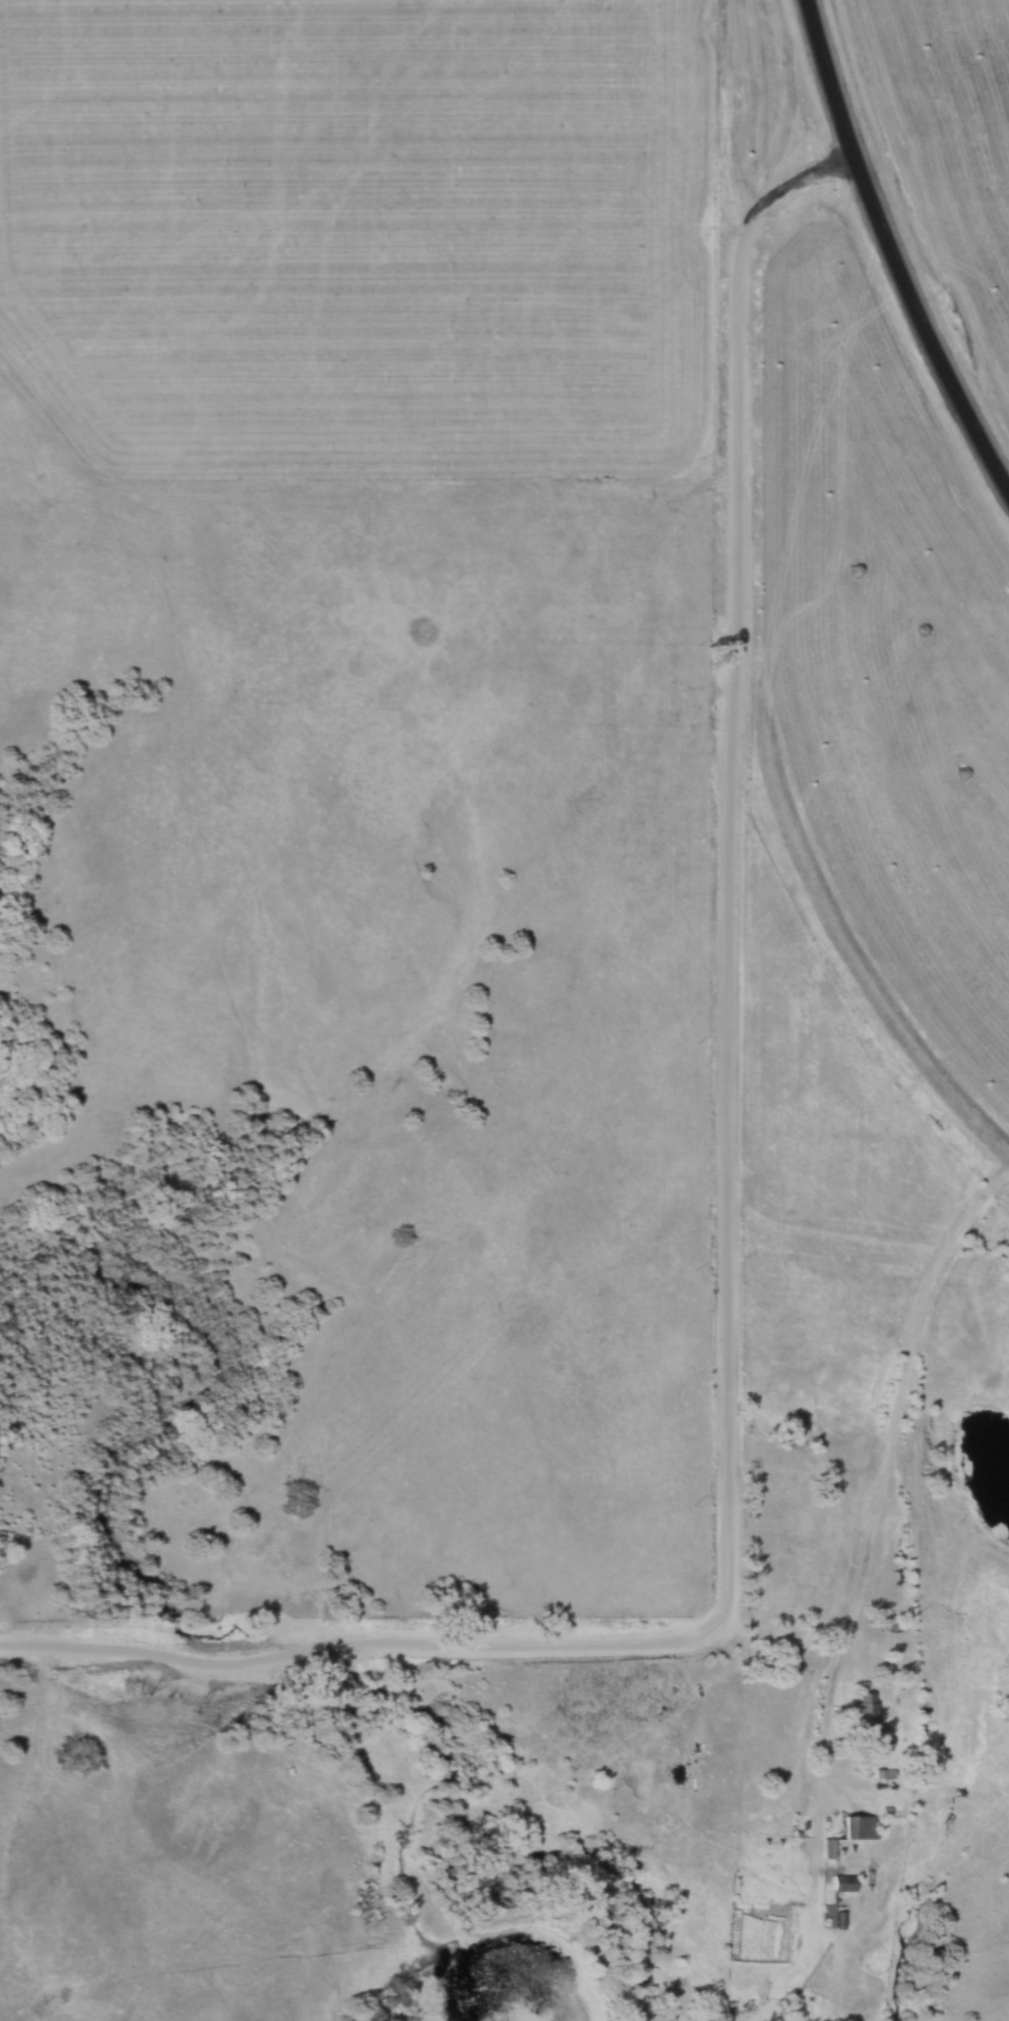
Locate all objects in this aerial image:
road: (891, 255)
road: (724, 862)
road: (891, 1440)
road: (362, 1645)
building: (864, 1712)
building: (880, 1744)
building: (857, 1828)
building: (827, 1849)
building: (843, 1884)
building: (827, 1917)

